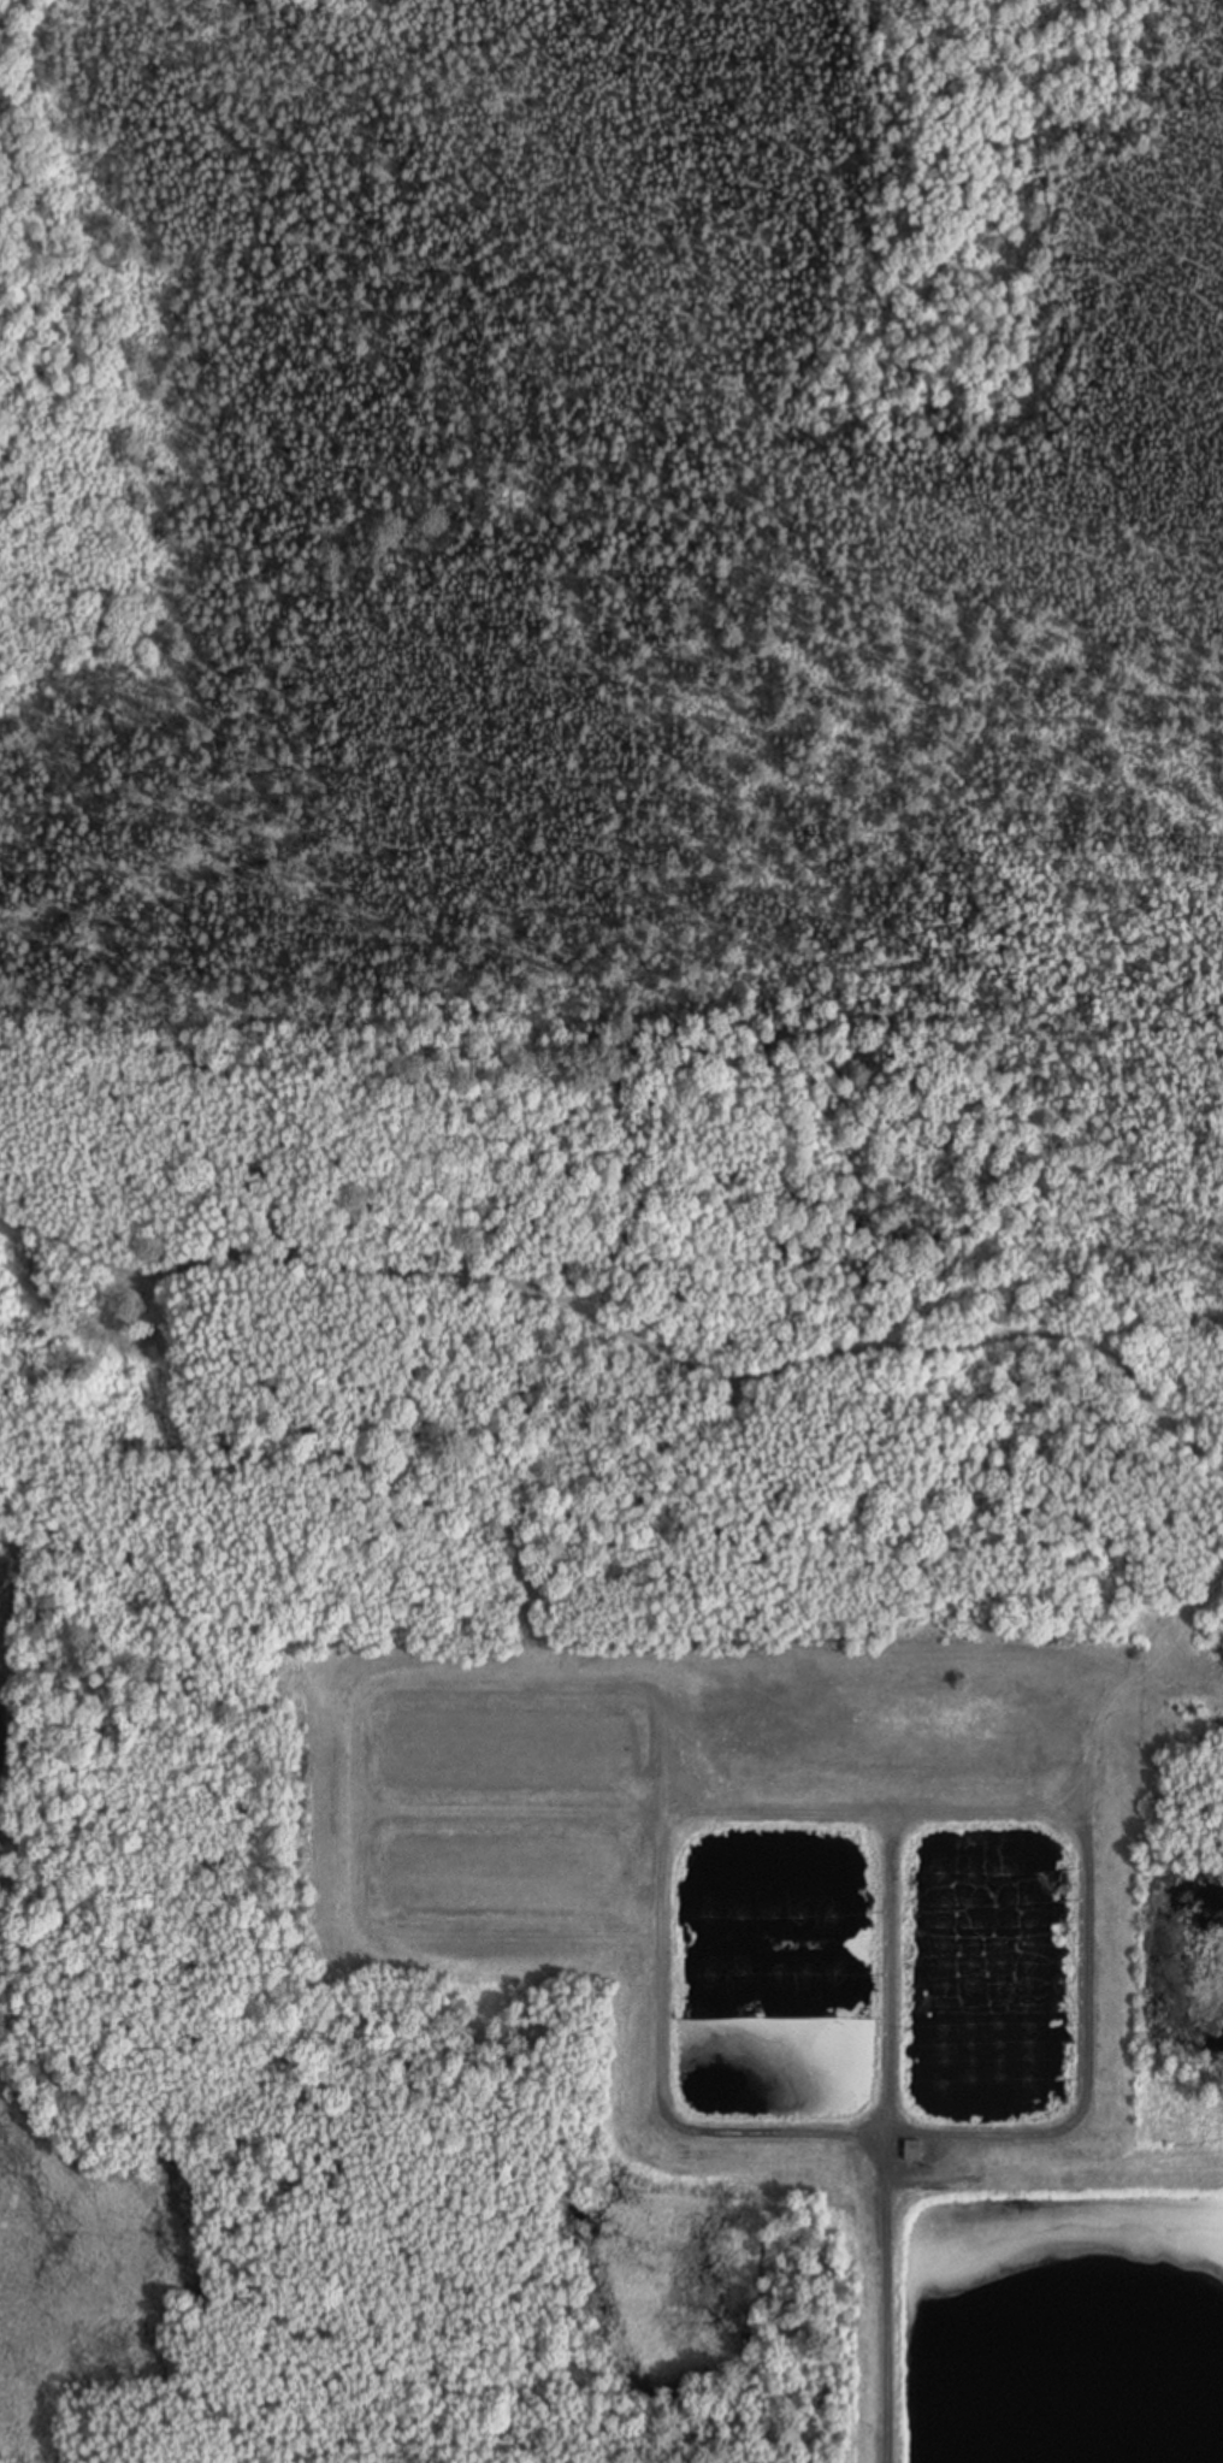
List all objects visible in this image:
building: (917, 2154)

